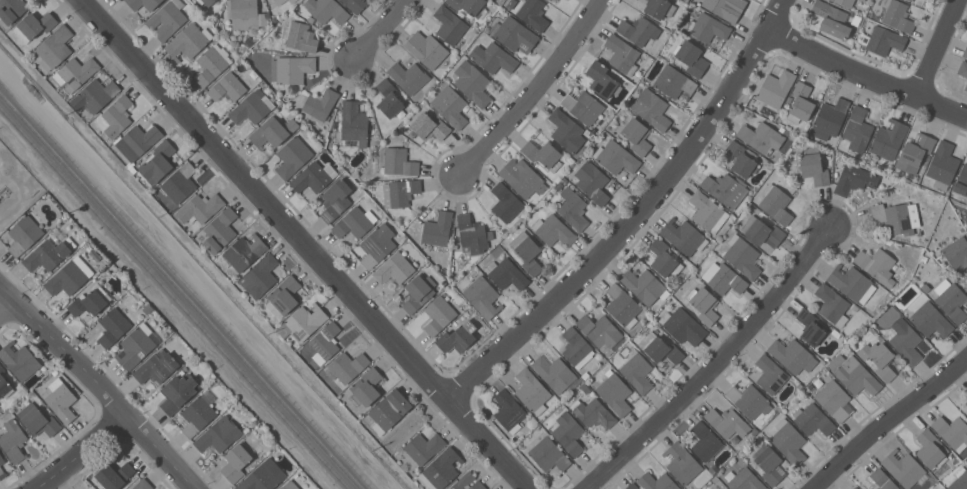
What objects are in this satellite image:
building: (862, 0)
building: (910, 0)
building: (279, 1)
building: (291, 1)
building: (206, 2)
building: (845, 2)
building: (143, 3)
building: (510, 4)
building: (355, 5)
building: (470, 6)
building: (659, 8)
building: (726, 8)
building: (11, 10)
building: (327, 10)
building: (246, 14)
building: (533, 14)
building: (897, 16)
building: (831, 18)
building: (167, 19)
building: (857, 20)
building: (449, 24)
building: (33, 25)
building: (707, 28)
road: (380, 29)
building: (638, 29)
building: (514, 34)
building: (300, 36)
building: (883, 40)
building: (188, 42)
road: (936, 46)
building: (54, 47)
building: (426, 49)
building: (965, 52)
building: (622, 54)
building: (493, 57)
building: (690, 58)
building: (212, 63)
building: (291, 68)
road: (866, 68)
building: (962, 68)
building: (76, 72)
building: (408, 76)
building: (601, 79)
building: (674, 82)
building: (473, 83)
building: (230, 86)
building: (776, 87)
building: (966, 87)
road: (535, 89)
building: (95, 94)
building: (389, 98)
building: (320, 103)
building: (801, 103)
building: (582, 105)
building: (451, 106)
building: (251, 108)
building: (651, 108)
building: (117, 116)
building: (829, 118)
building: (353, 124)
building: (428, 127)
building: (303, 130)
building: (566, 130)
building: (857, 130)
building: (272, 132)
building: (787, 132)
building: (637, 135)
building: (761, 137)
building: (888, 138)
building: (137, 142)
building: (832, 143)
building: (915, 152)
building: (542, 153)
building: (292, 157)
building: (616, 158)
building: (740, 158)
building: (394, 161)
building: (159, 162)
building: (942, 163)
building: (814, 166)
building: (133, 170)
building: (314, 177)
building: (522, 177)
building: (854, 179)
building: (961, 181)
building: (591, 182)
building: (180, 183)
building: (725, 189)
building: (400, 192)
building: (335, 199)
building: (505, 202)
building: (775, 203)
building: (200, 208)
building: (574, 208)
building: (708, 211)
road: (637, 217)
building: (895, 217)
building: (354, 222)
building: (437, 229)
building: (220, 230)
building: (553, 230)
building: (762, 231)
building: (24, 233)
building: (471, 234)
building: (683, 236)
road: (310, 244)
building: (377, 245)
building: (527, 251)
building: (243, 252)
building: (48, 254)
building: (957, 254)
building: (743, 256)
building: (663, 258)
building: (877, 265)
building: (394, 267)
building: (697, 271)
building: (506, 273)
building: (259, 276)
building: (66, 278)
building: (723, 278)
building: (852, 282)
railway: (187, 283)
building: (644, 285)
railway: (181, 290)
building: (417, 292)
building: (283, 296)
railway: (175, 297)
building: (483, 297)
building: (951, 299)
building: (90, 301)
building: (704, 304)
building: (832, 304)
building: (623, 305)
building: (855, 307)
road: (7, 308)
building: (148, 308)
building: (868, 310)
building: (438, 315)
building: (931, 319)
building: (305, 321)
building: (454, 325)
building: (113, 326)
building: (683, 326)
building: (810, 327)
building: (602, 332)
building: (836, 333)
building: (457, 337)
building: (906, 340)
building: (325, 341)
building: (135, 346)
building: (576, 347)
building: (660, 348)
building: (792, 354)
building: (880, 359)
building: (19, 360)
road: (712, 363)
building: (346, 366)
building: (157, 368)
building: (54, 371)
building: (637, 371)
building: (555, 373)
building: (585, 374)
building: (770, 374)
building: (853, 374)
building: (5, 384)
building: (799, 385)
road: (97, 386)
building: (366, 387)
building: (585, 388)
building: (532, 390)
building: (178, 392)
building: (615, 392)
building: (966, 397)
building: (60, 399)
building: (749, 399)
building: (834, 400)
building: (389, 410)
building: (508, 410)
building: (593, 413)
building: (197, 414)
building: (812, 419)
building: (38, 420)
road: (887, 420)
building: (727, 421)
building: (531, 422)
building: (754, 430)
building: (952, 431)
building: (568, 432)
building: (219, 434)
building: (735, 438)
building: (12, 439)
building: (705, 441)
building: (788, 441)
building: (758, 442)
building: (423, 447)
building: (931, 448)
road: (84, 453)
building: (549, 455)
building: (1, 459)
building: (236, 462)
building: (681, 462)
building: (770, 465)
building: (904, 468)
building: (441, 469)
building: (2, 473)
building: (114, 475)
building: (264, 476)
building: (960, 479)
building: (744, 480)
building: (882, 480)
building: (657, 481)
building: (468, 482)
building: (142, 484)
building: (631, 486)
building: (282, 487)
building: (723, 488)
building: (724, 488)
building: (855, 488)

